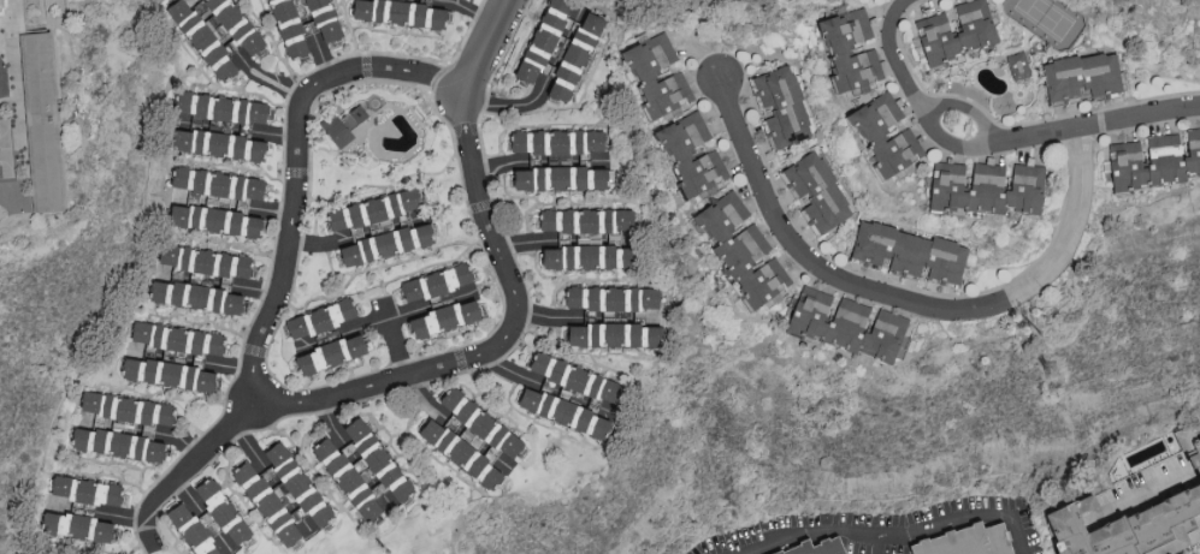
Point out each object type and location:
building: (402, 11)
park: (1046, 17)
building: (305, 22)
building: (235, 29)
building: (957, 31)
building: (203, 38)
building: (544, 38)
road: (489, 50)
building: (578, 53)
road: (323, 59)
building: (1019, 64)
building: (658, 72)
building: (1083, 76)
road: (272, 81)
road: (512, 103)
building: (784, 105)
building: (223, 107)
building: (43, 124)
building: (344, 124)
building: (873, 132)
road: (277, 133)
building: (557, 139)
building: (221, 143)
road: (993, 145)
building: (693, 153)
building: (601, 157)
building: (1154, 160)
building: (7, 163)
road: (300, 174)
building: (561, 177)
building: (218, 181)
building: (988, 186)
building: (820, 190)
road: (273, 209)
building: (372, 209)
building: (218, 219)
building: (587, 219)
road: (321, 240)
road: (521, 240)
building: (389, 243)
building: (744, 249)
building: (911, 251)
building: (590, 255)
building: (205, 260)
building: (437, 281)
road: (259, 288)
building: (200, 296)
building: (613, 297)
road: (909, 303)
road: (549, 315)
building: (321, 317)
building: (445, 317)
building: (847, 322)
building: (616, 333)
building: (177, 336)
power tower: (1044, 336)
road: (396, 347)
road: (502, 350)
building: (331, 352)
road: (232, 364)
power tower: (1054, 371)
building: (171, 373)
building: (577, 376)
building: (126, 407)
building: (566, 411)
building: (466, 433)
building: (443, 437)
road: (184, 440)
building: (122, 443)
building: (1196, 451)
building: (379, 458)
road: (185, 475)
building: (348, 478)
building: (87, 489)
building: (285, 495)
building: (212, 522)
building: (81, 526)
building: (1129, 526)
road: (898, 531)
building: (968, 540)
road: (879, 544)
building: (829, 549)
power tower: (394, 553)

